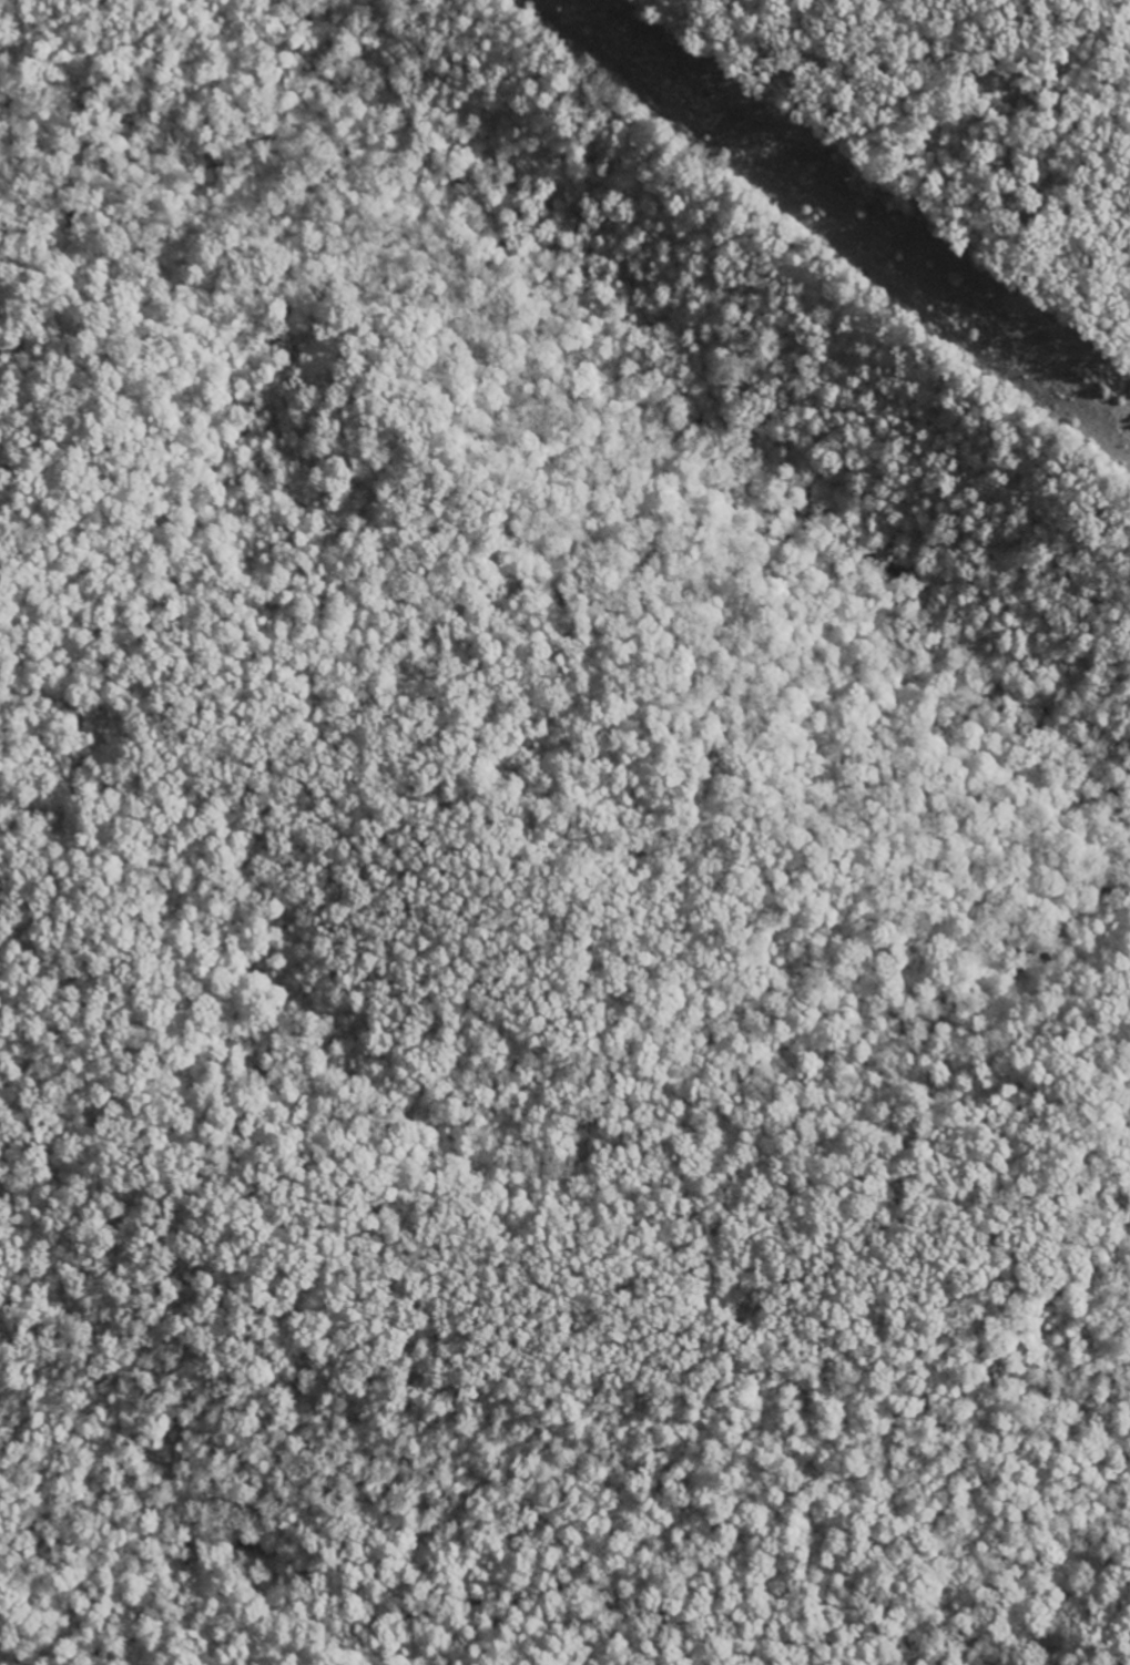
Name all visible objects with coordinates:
power tower: (716, 115)
power tower: (1019, 341)

